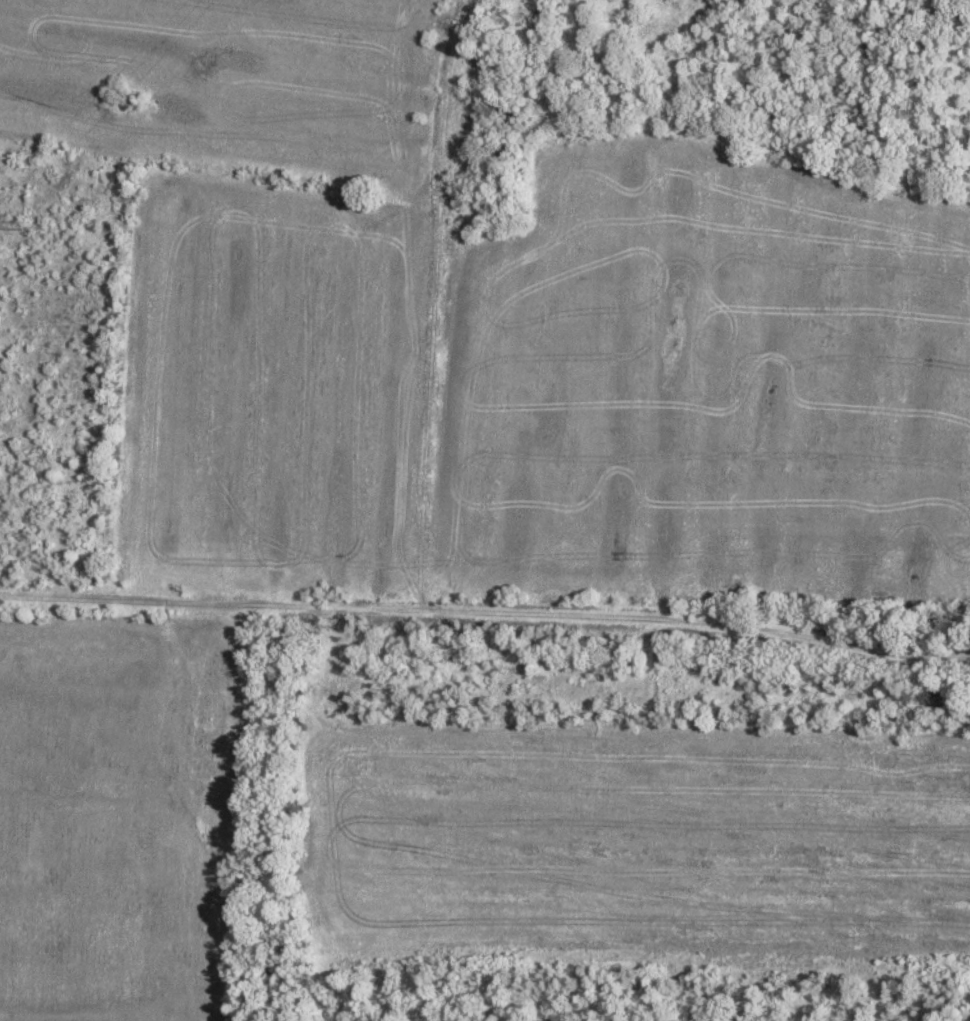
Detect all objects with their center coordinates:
power tower: (31, 224)
road: (486, 615)

